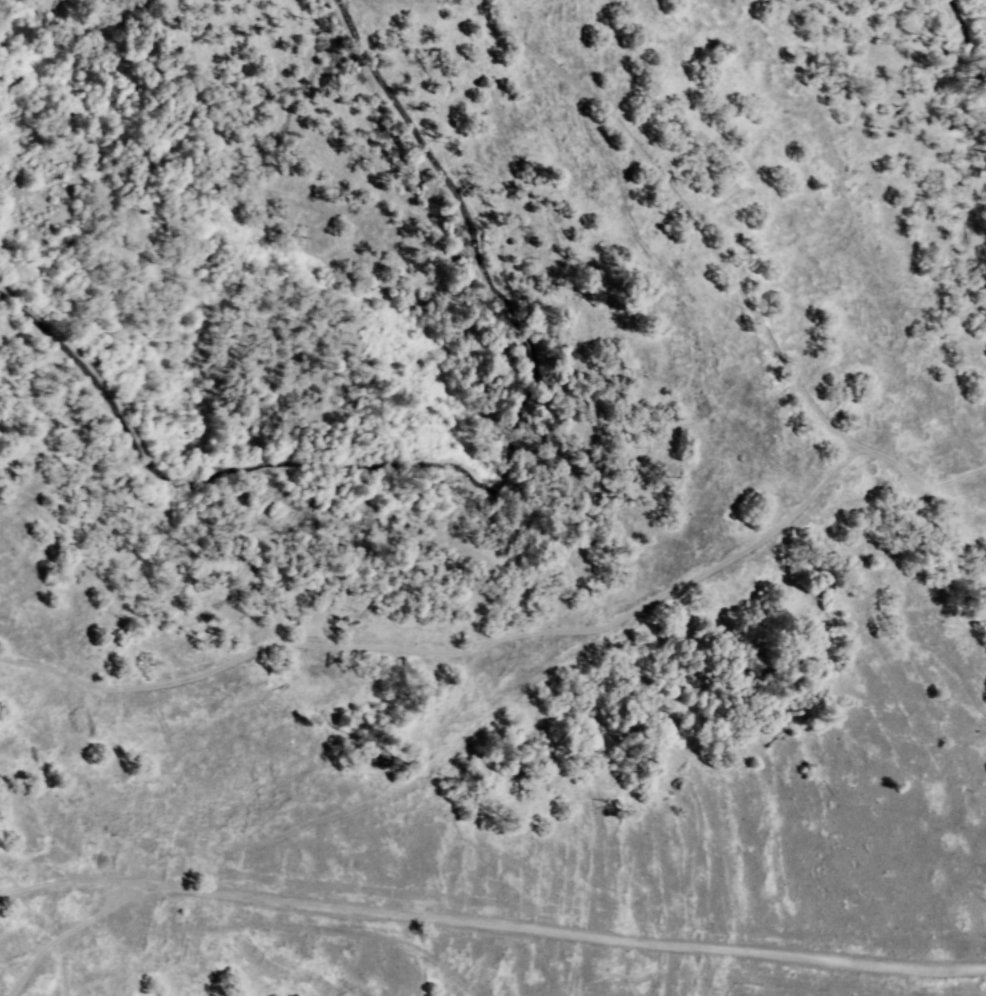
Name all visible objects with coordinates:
road: (492, 927)

